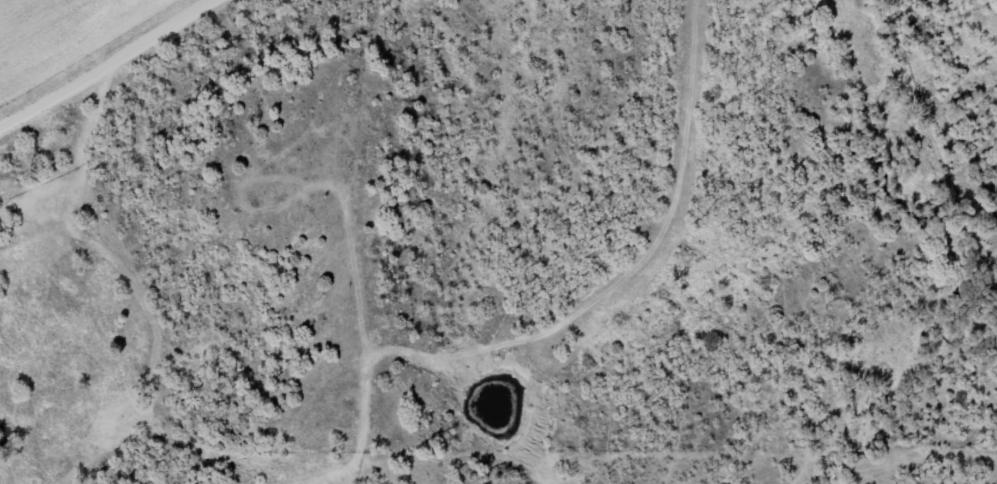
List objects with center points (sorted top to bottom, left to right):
road: (123, 69)

